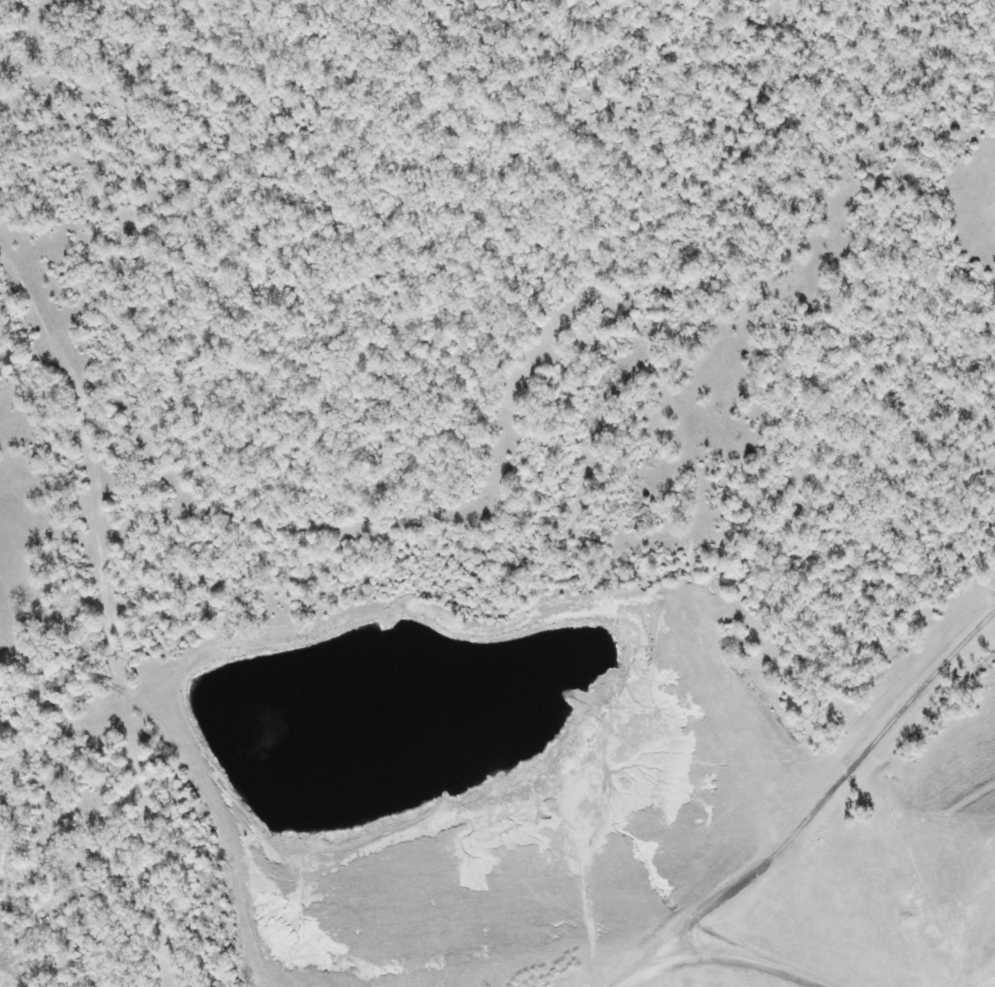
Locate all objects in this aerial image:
road: (717, 961)

